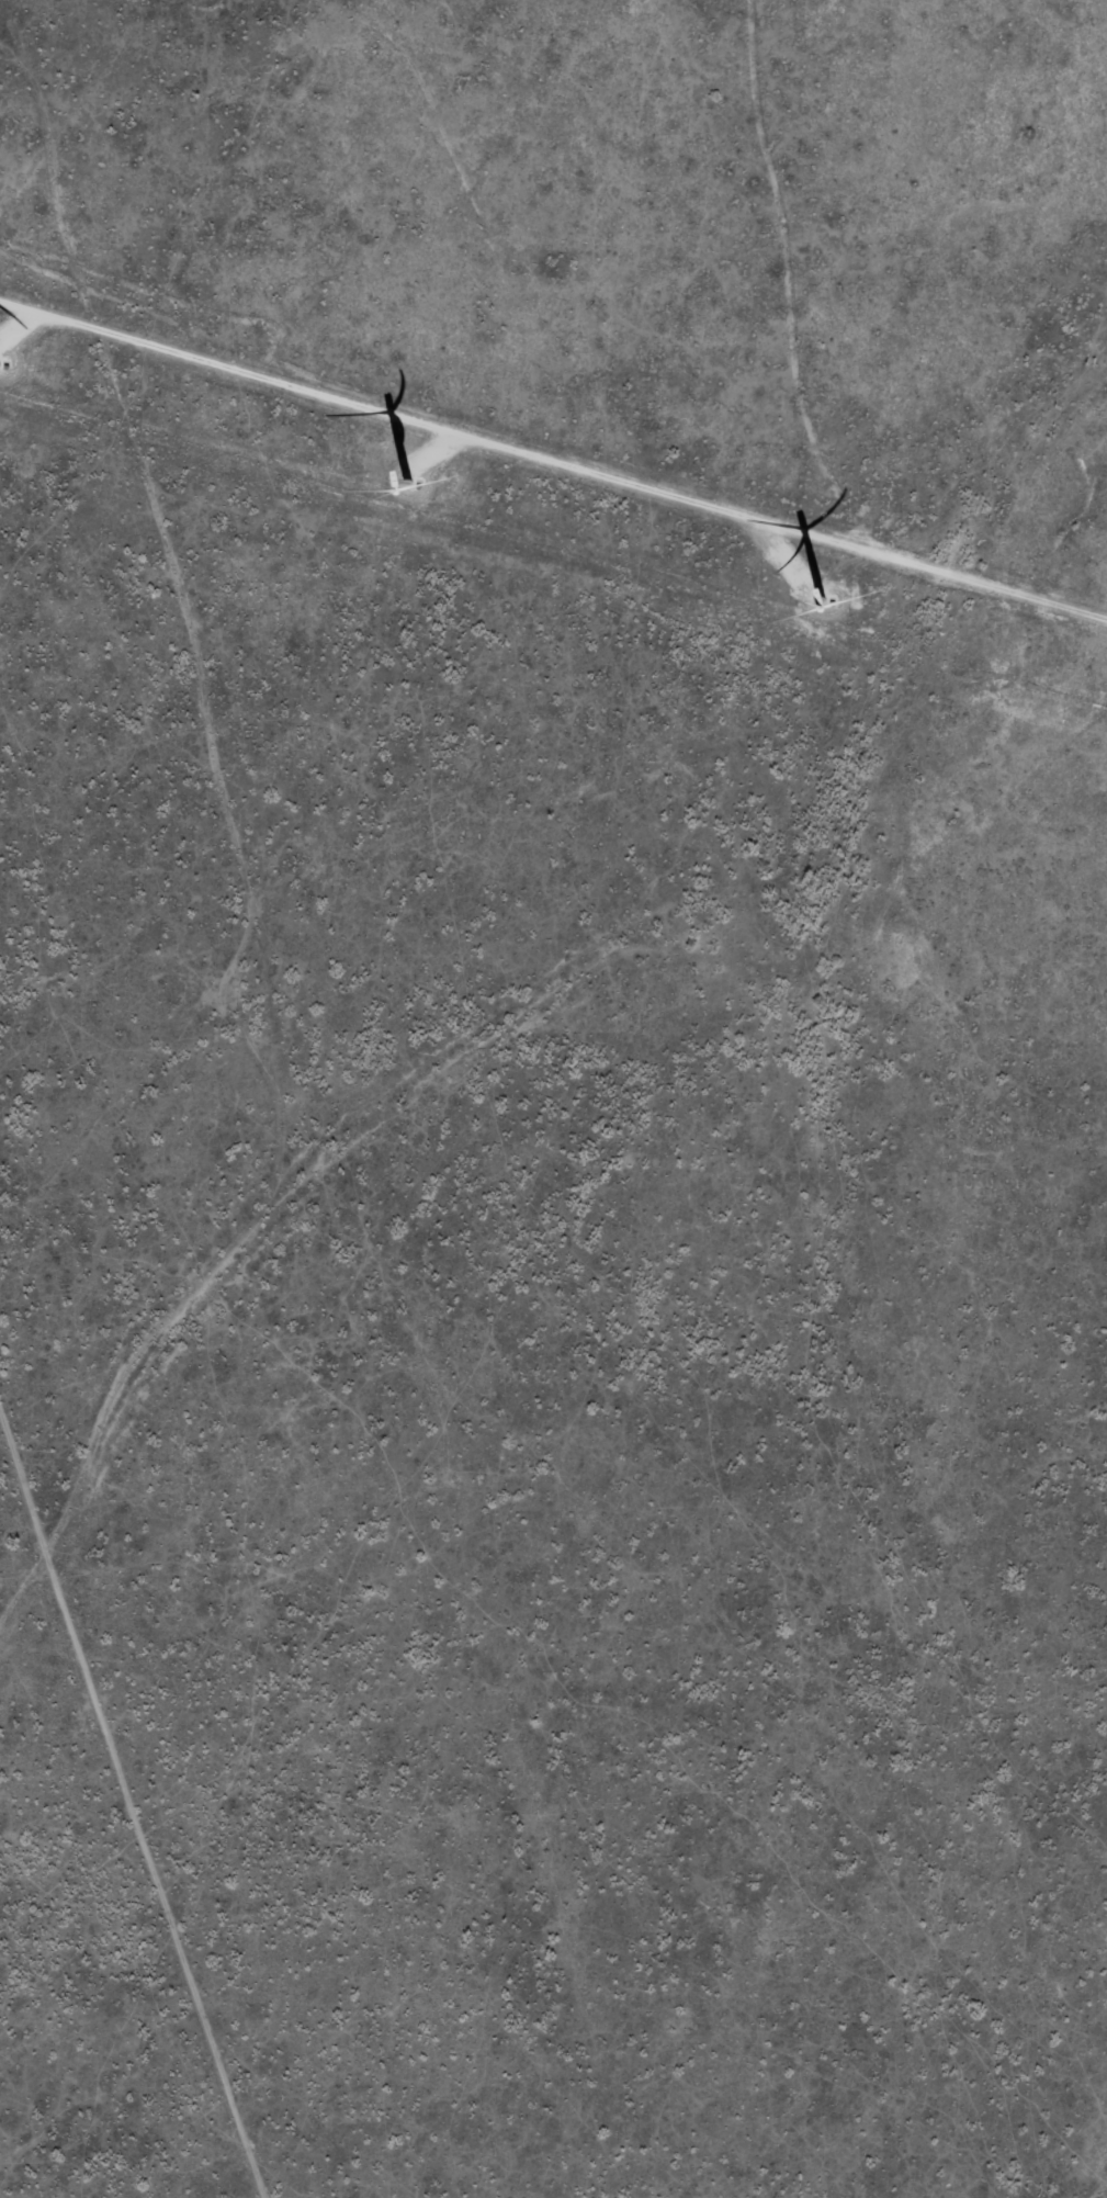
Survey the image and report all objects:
wind turbine: (42, 369)
wind turbine: (420, 461)
wind turbine: (765, 594)
road: (226, 814)

